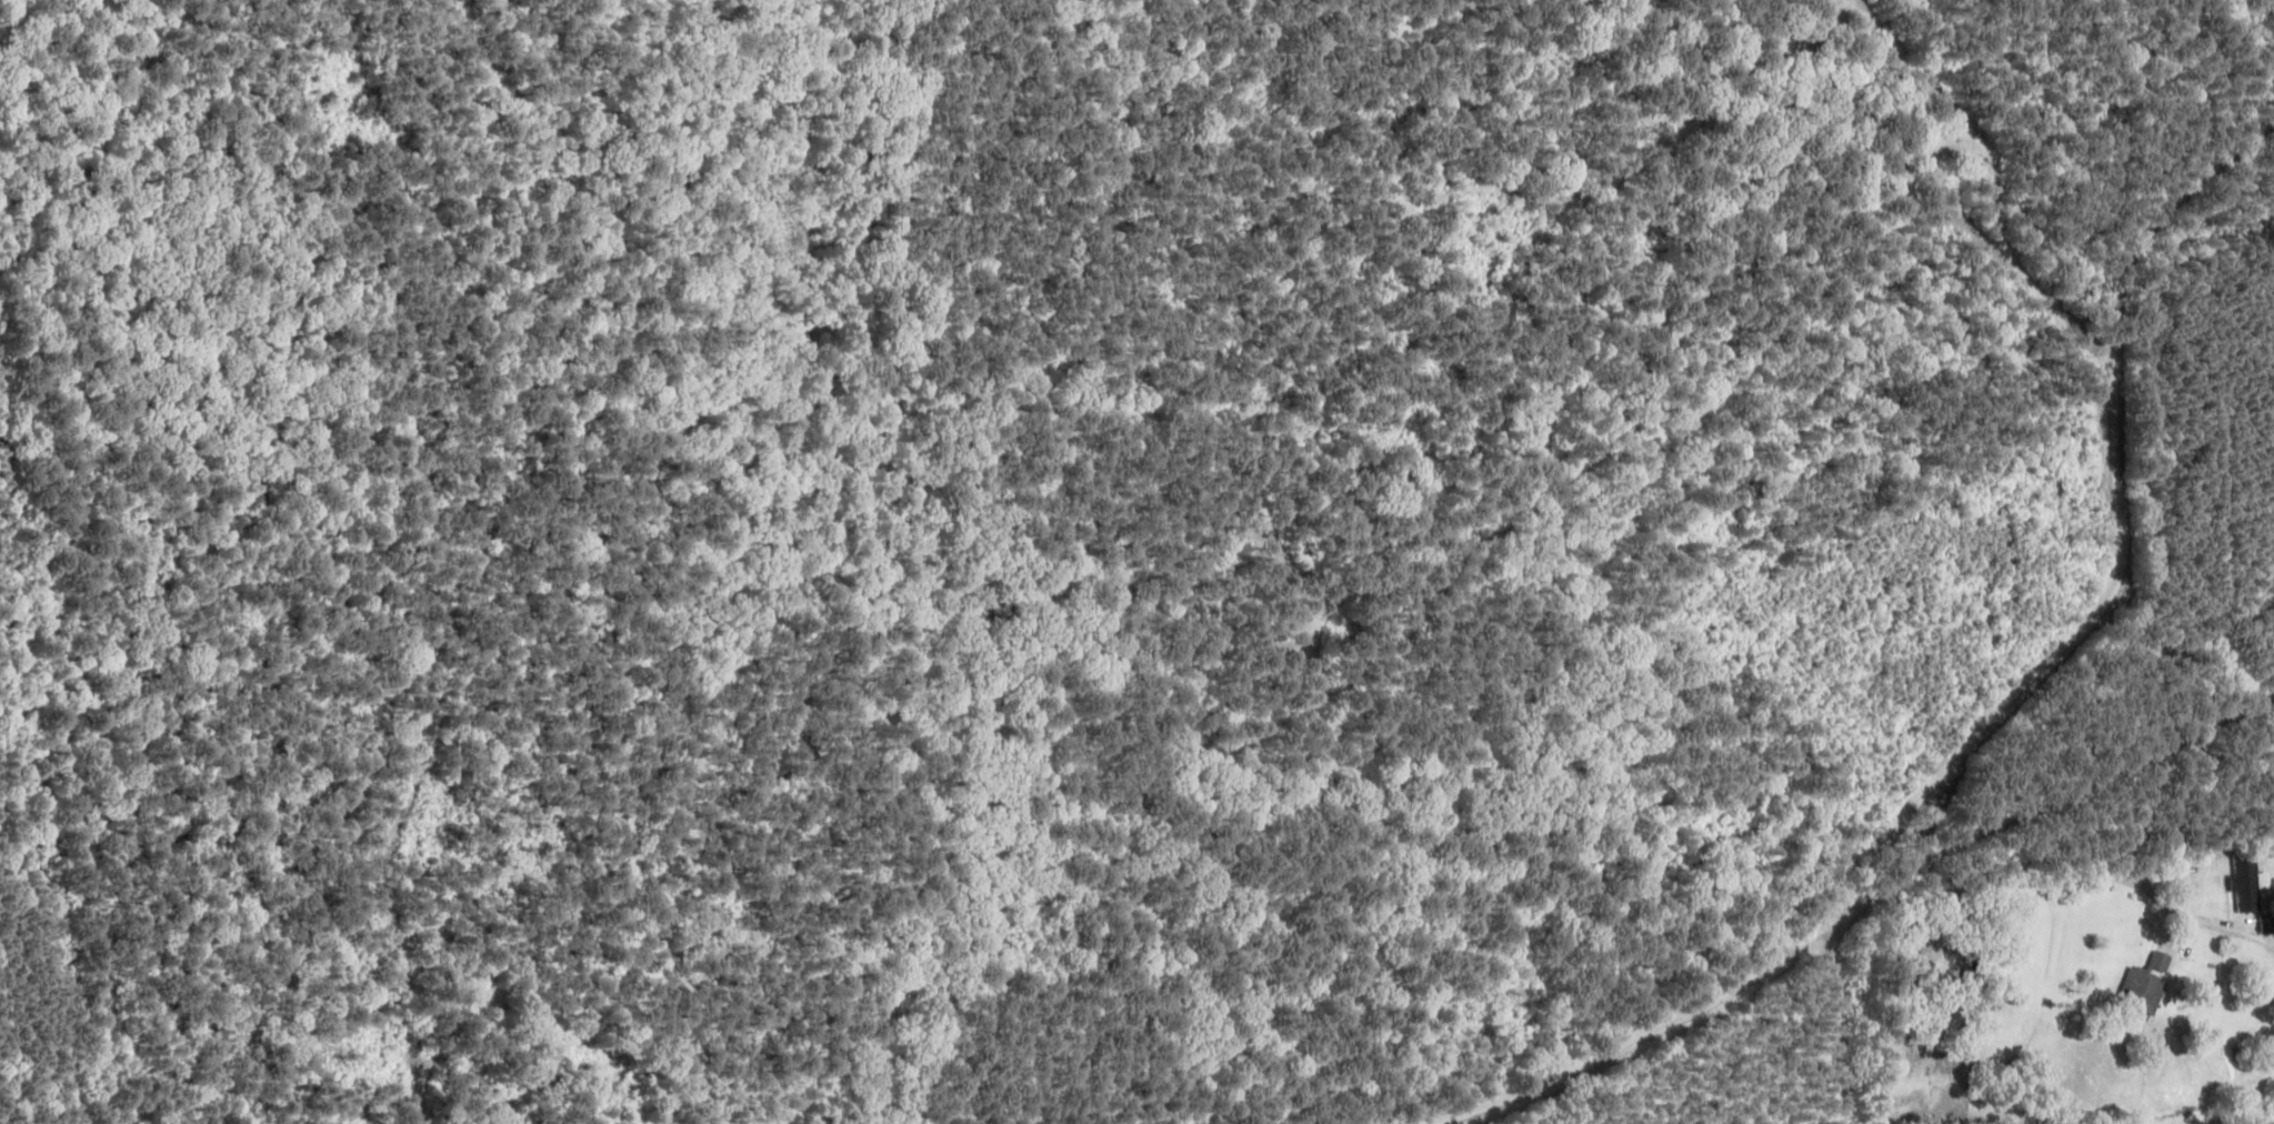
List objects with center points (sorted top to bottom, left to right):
road: (2020, 737)
building: (2238, 884)
building: (2153, 960)
building: (2135, 992)
road: (1656, 1092)

